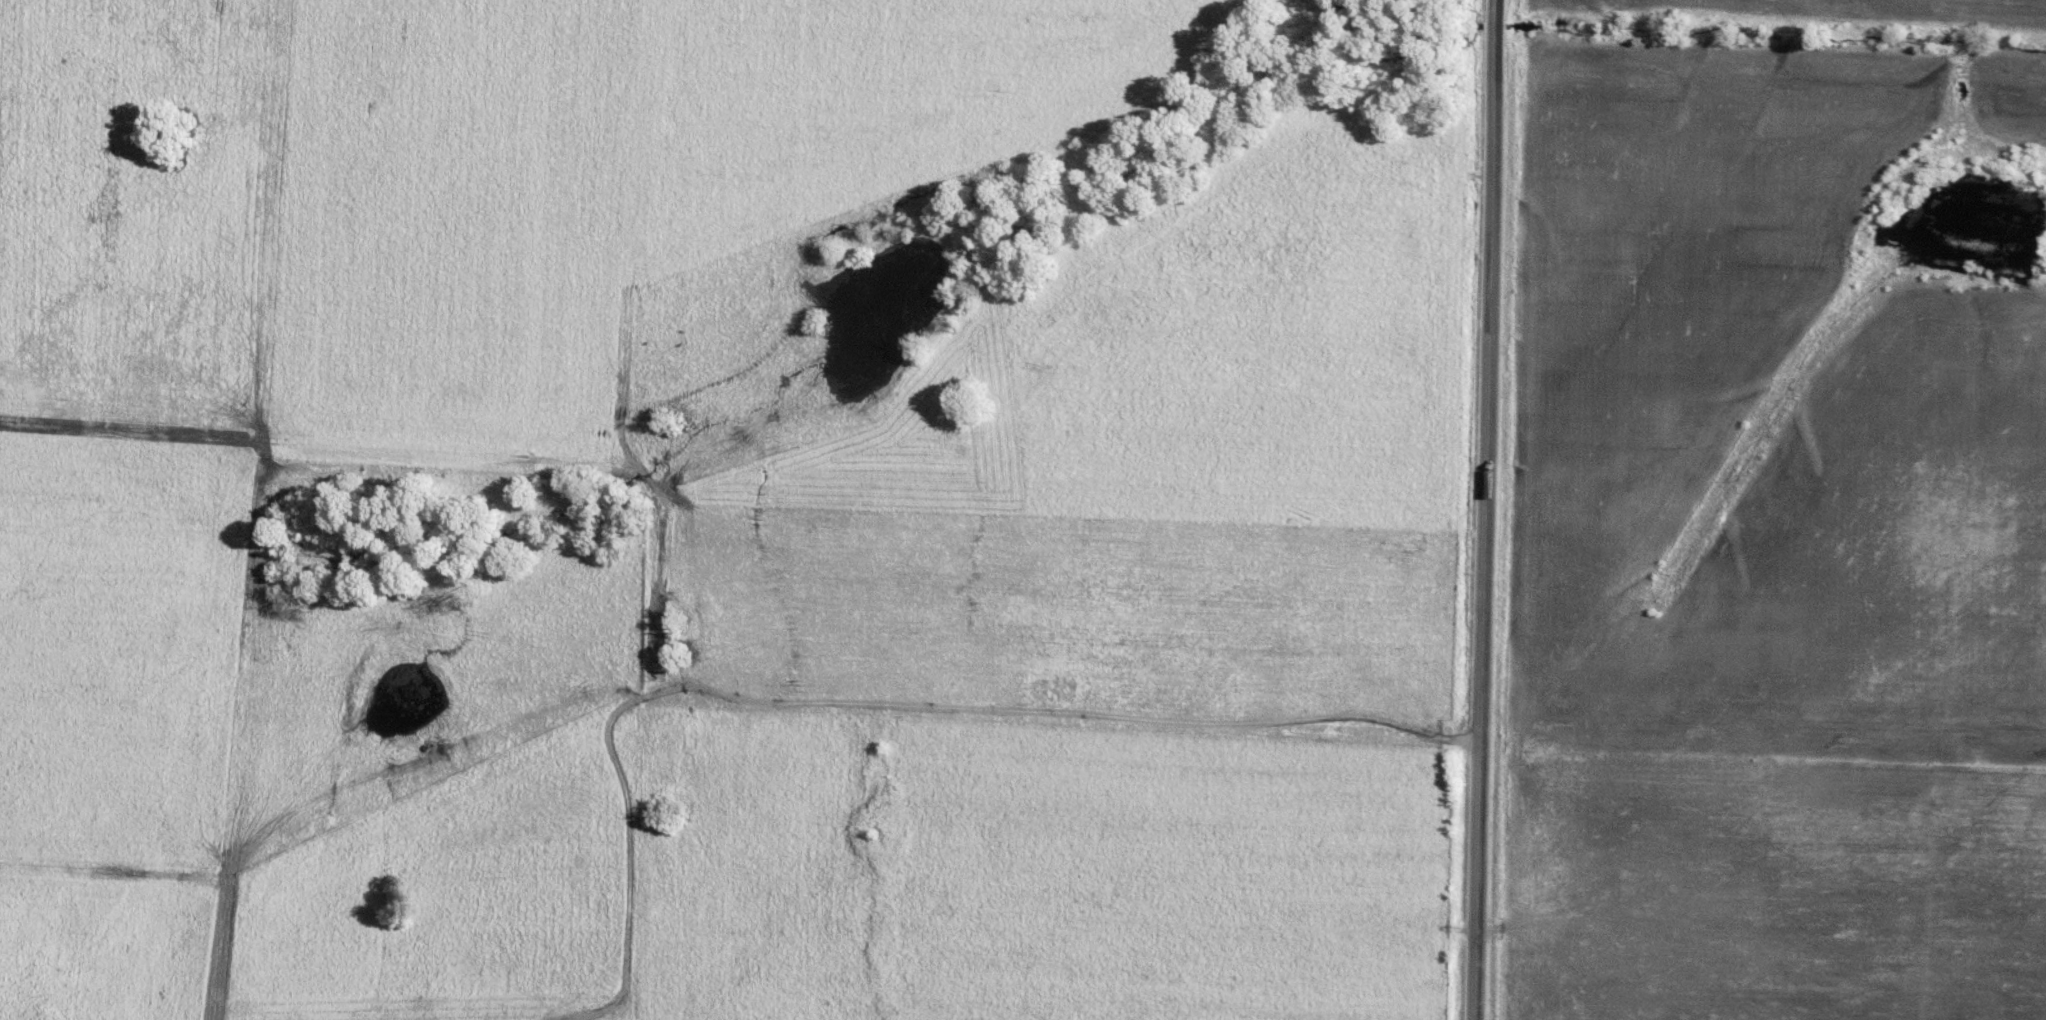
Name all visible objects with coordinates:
road: (1484, 510)

